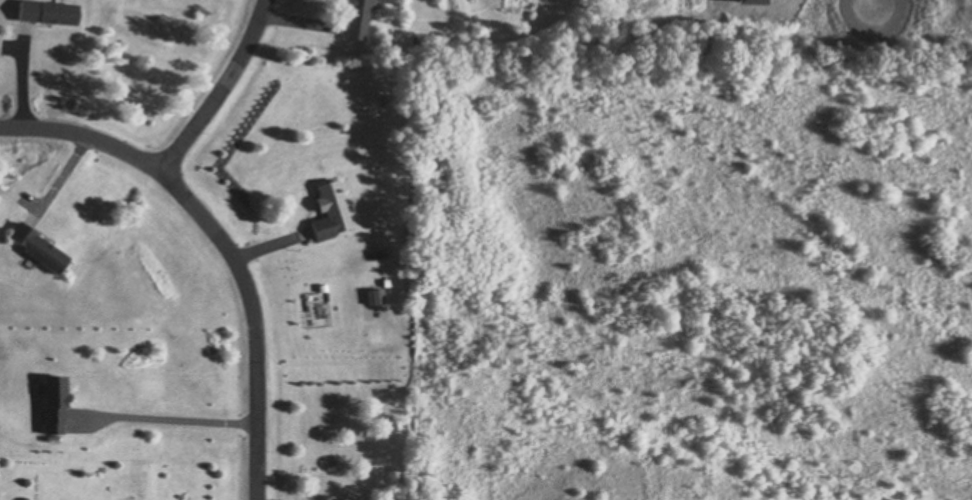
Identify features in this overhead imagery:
building: (48, 11)
building: (358, 19)
road: (220, 87)
building: (331, 211)
road: (222, 240)
building: (37, 247)
crop: (699, 258)
road: (164, 420)
building: (340, 498)

